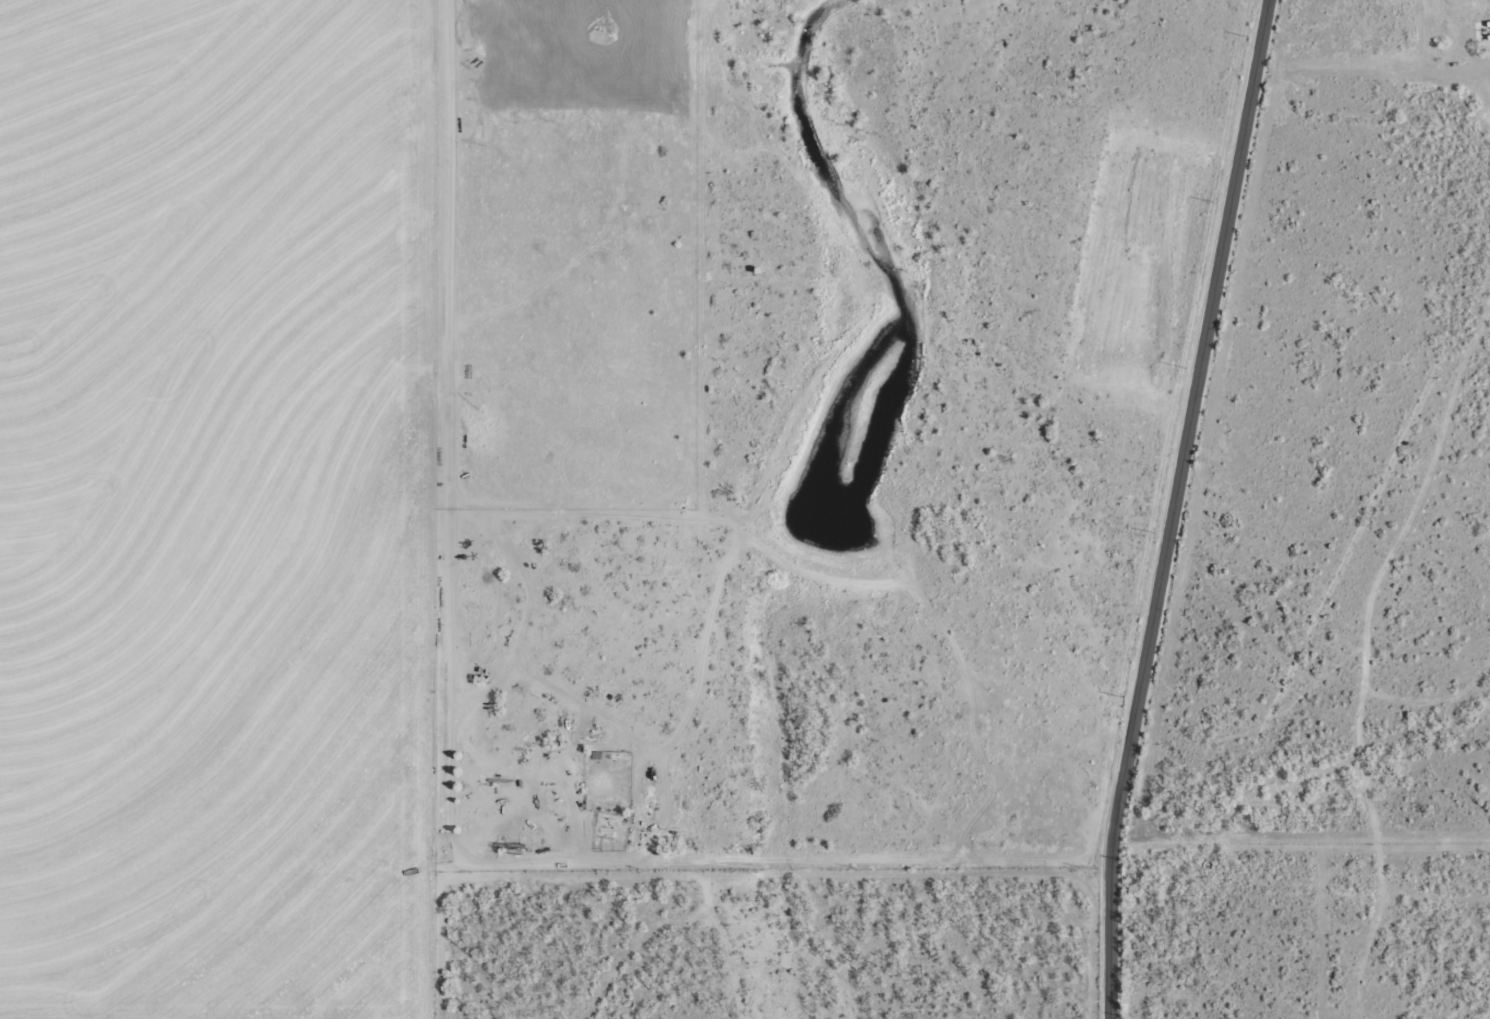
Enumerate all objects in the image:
road: (1168, 507)

